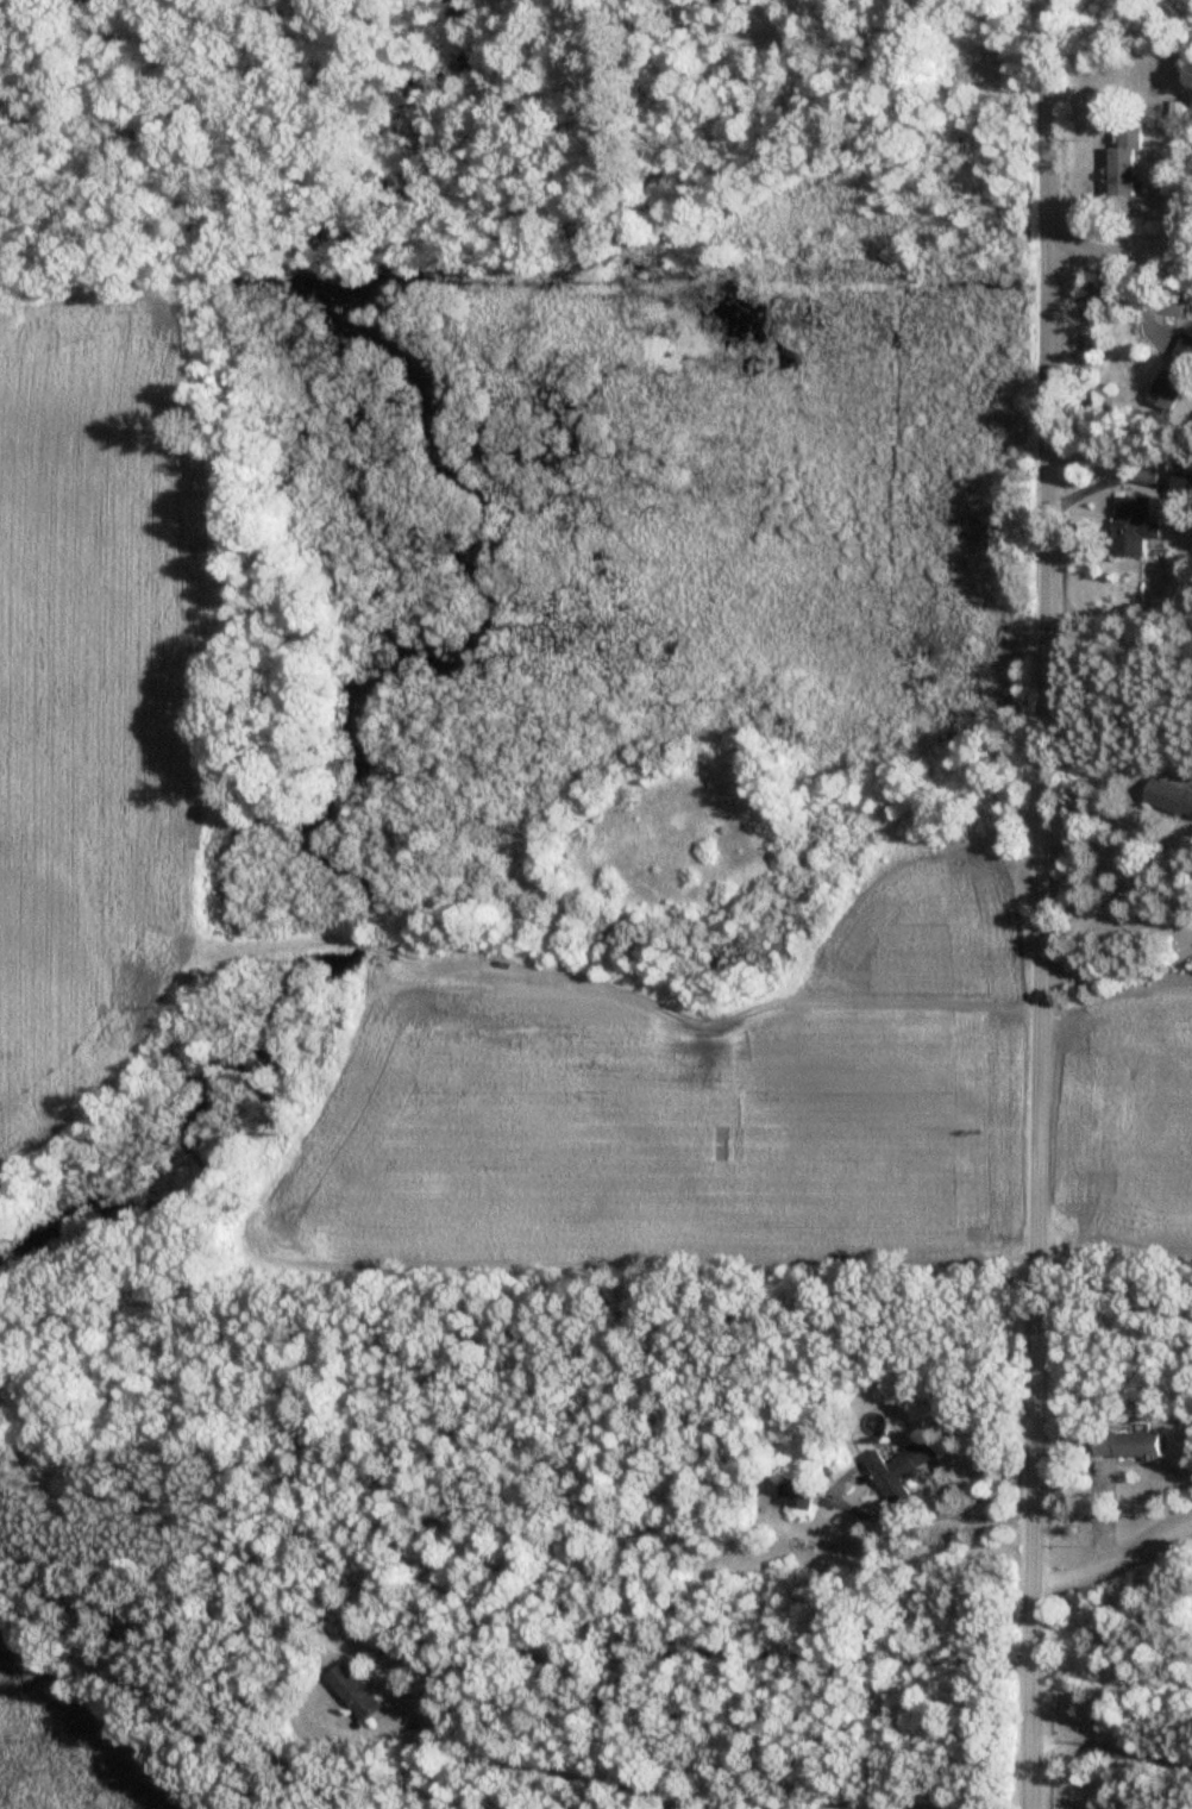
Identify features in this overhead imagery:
building: (1122, 162)
road: (1119, 257)
building: (1175, 375)
road: (1104, 478)
building: (1133, 527)
building: (1169, 800)
road: (1137, 874)
road: (1040, 904)
road: (1061, 919)
road: (1134, 931)
building: (1125, 1447)
building: (897, 1470)
building: (795, 1495)
road: (1113, 1561)
road: (751, 1655)
building: (355, 1694)
road: (1110, 1751)

